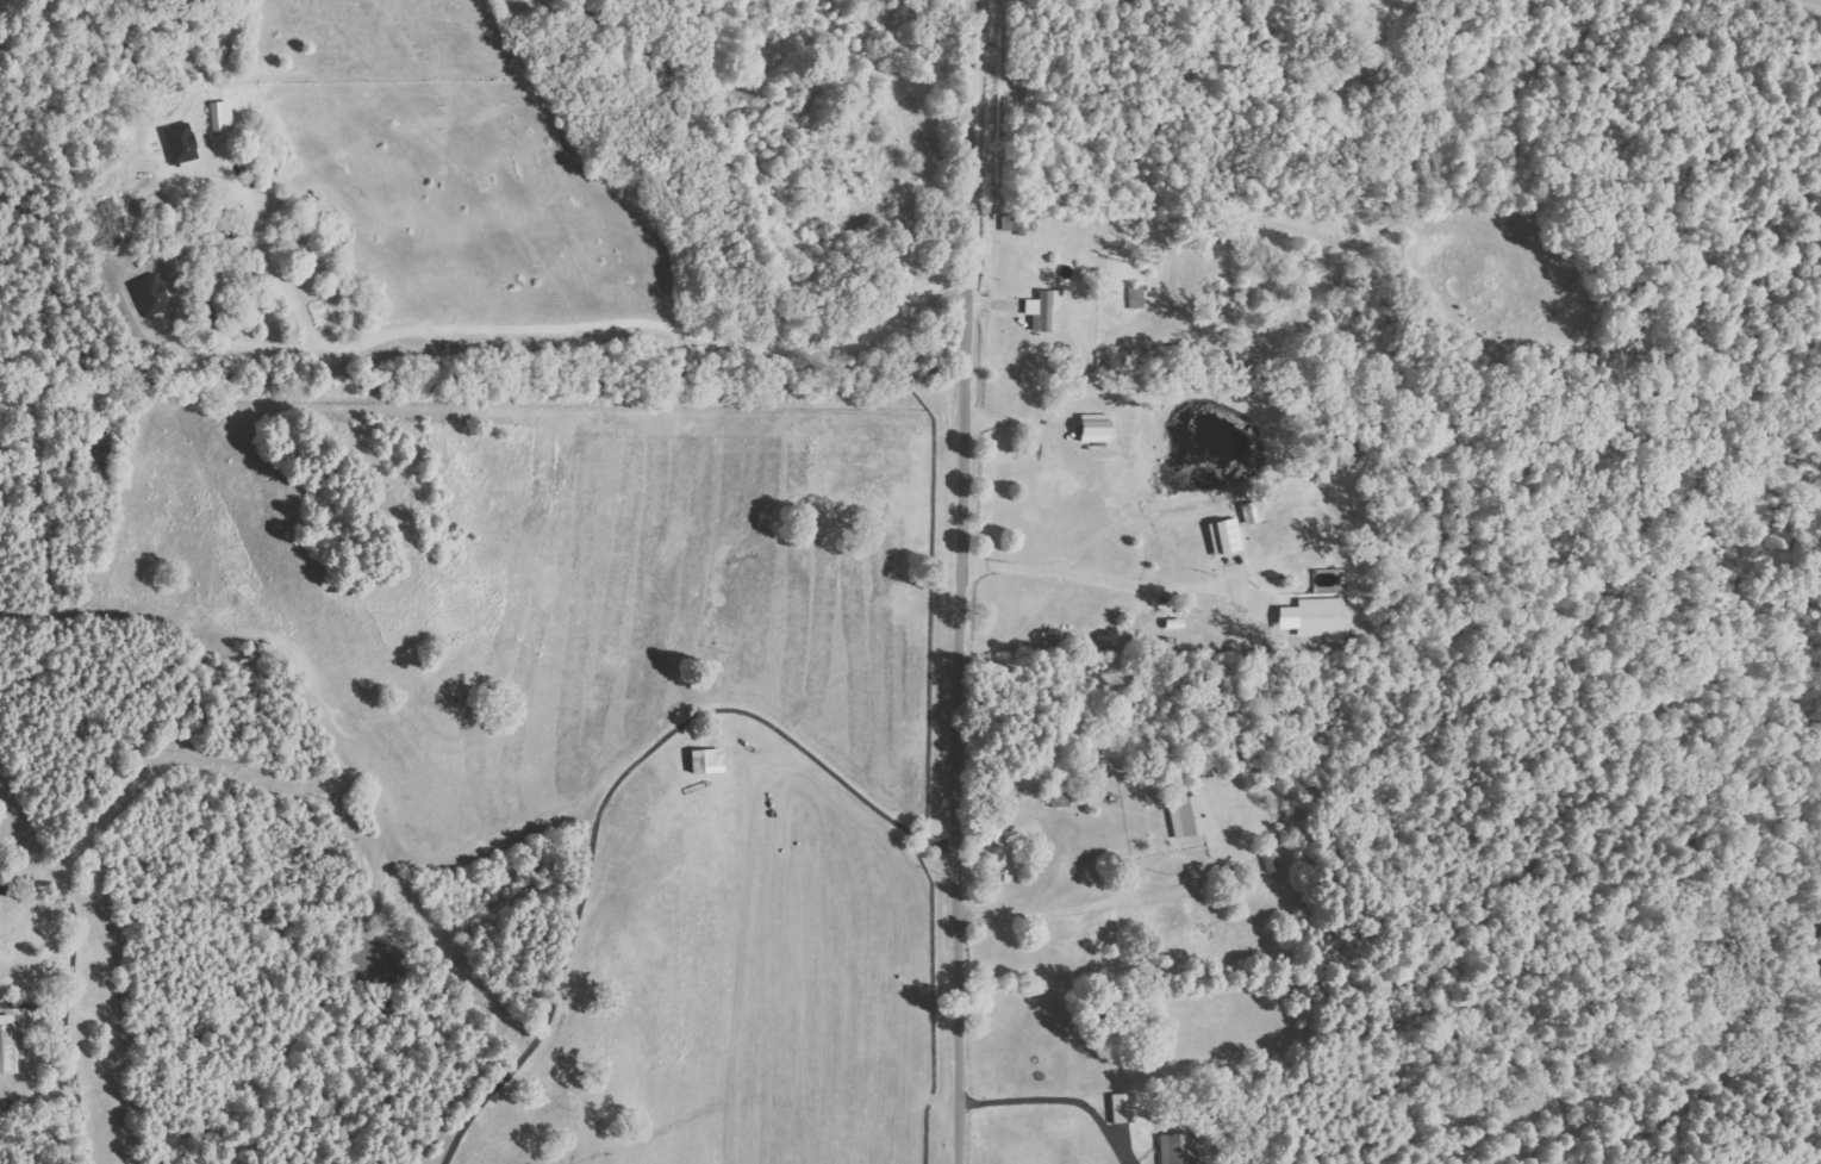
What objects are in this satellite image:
building: (223, 117)
building: (1044, 310)
building: (1254, 512)
road: (962, 581)
building: (1317, 616)
building: (710, 760)
building: (1189, 816)
road: (400, 833)
building: (1, 867)
building: (8, 1045)
building: (1124, 1107)
building: (1180, 1149)

